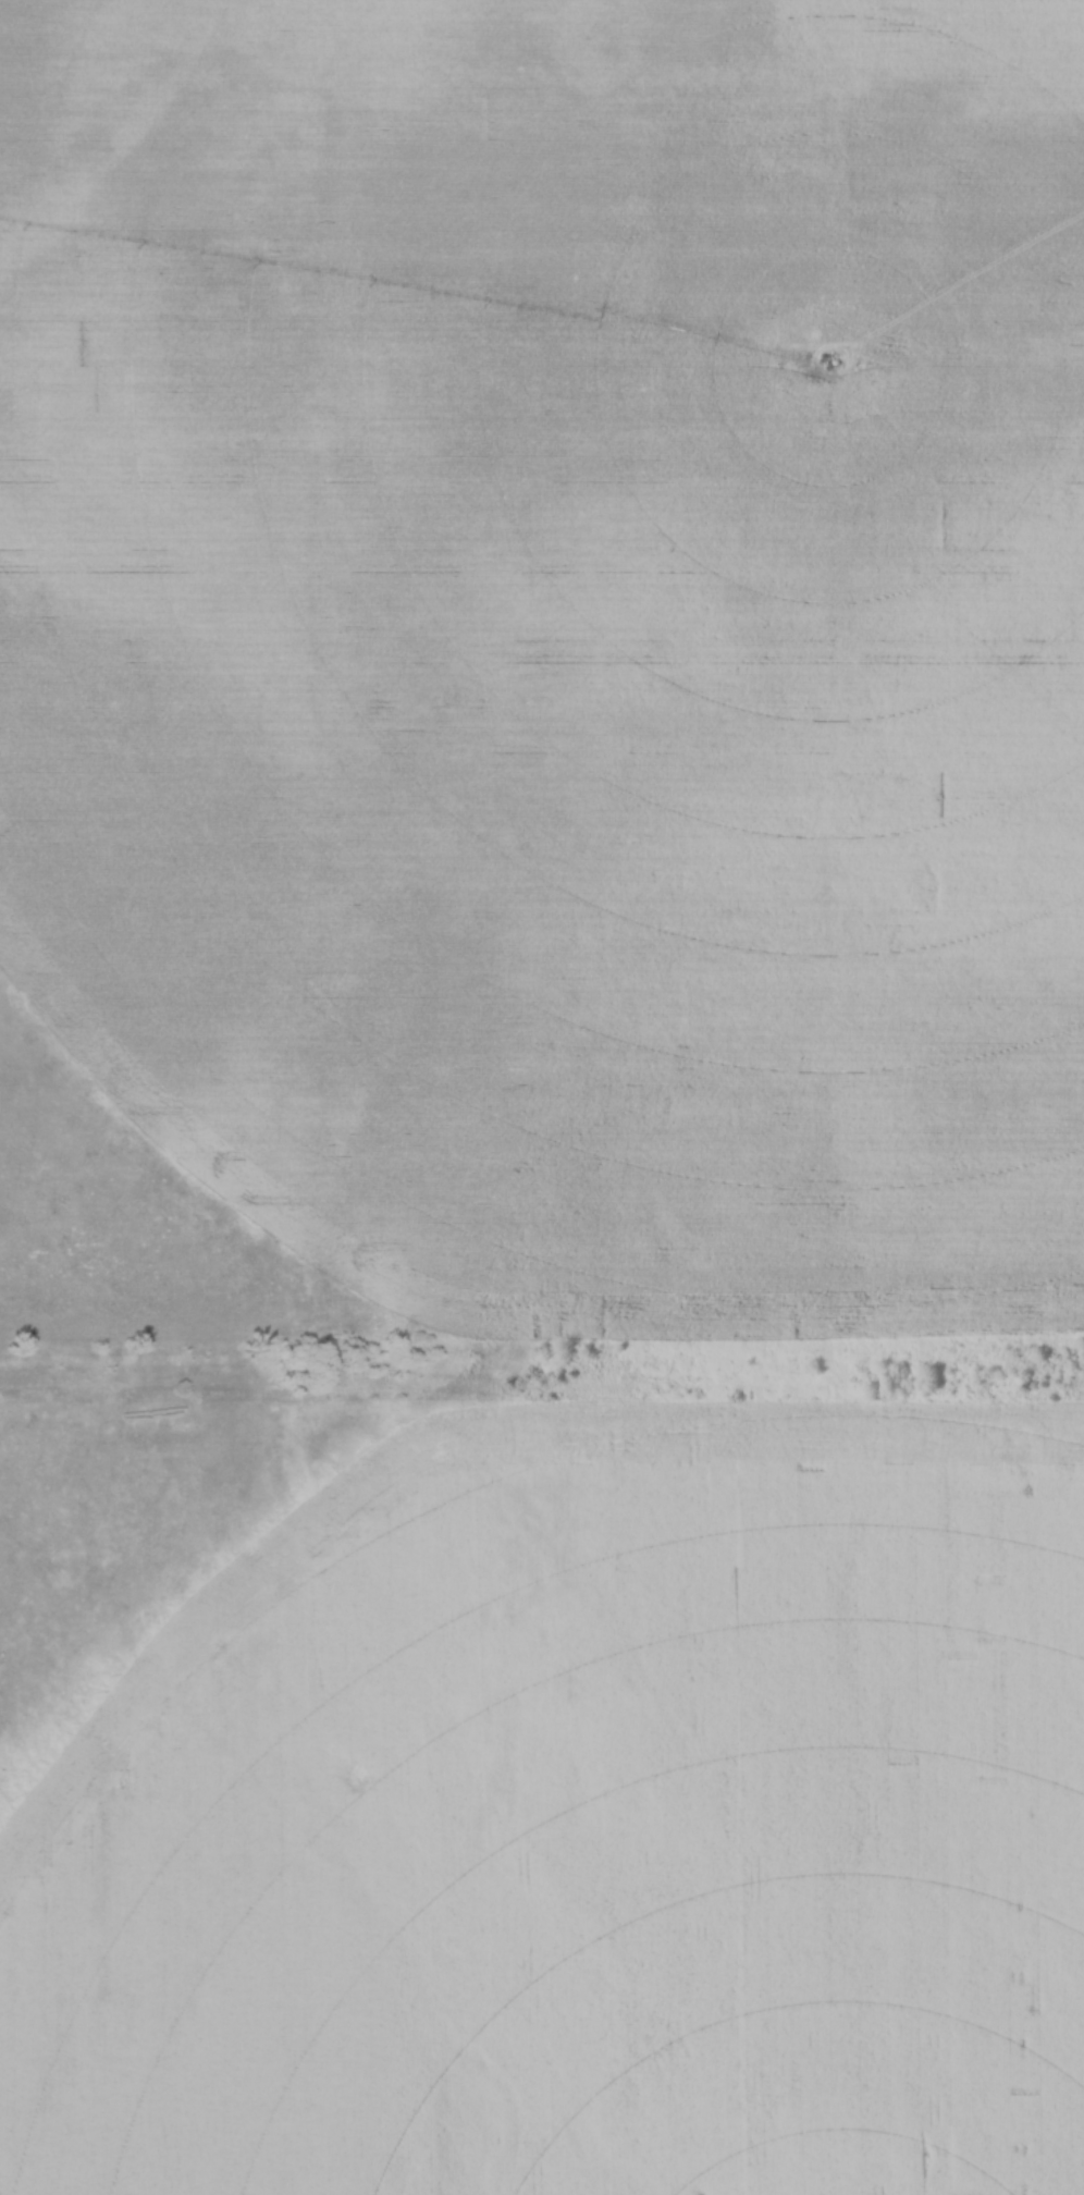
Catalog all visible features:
road: (542, 1391)

